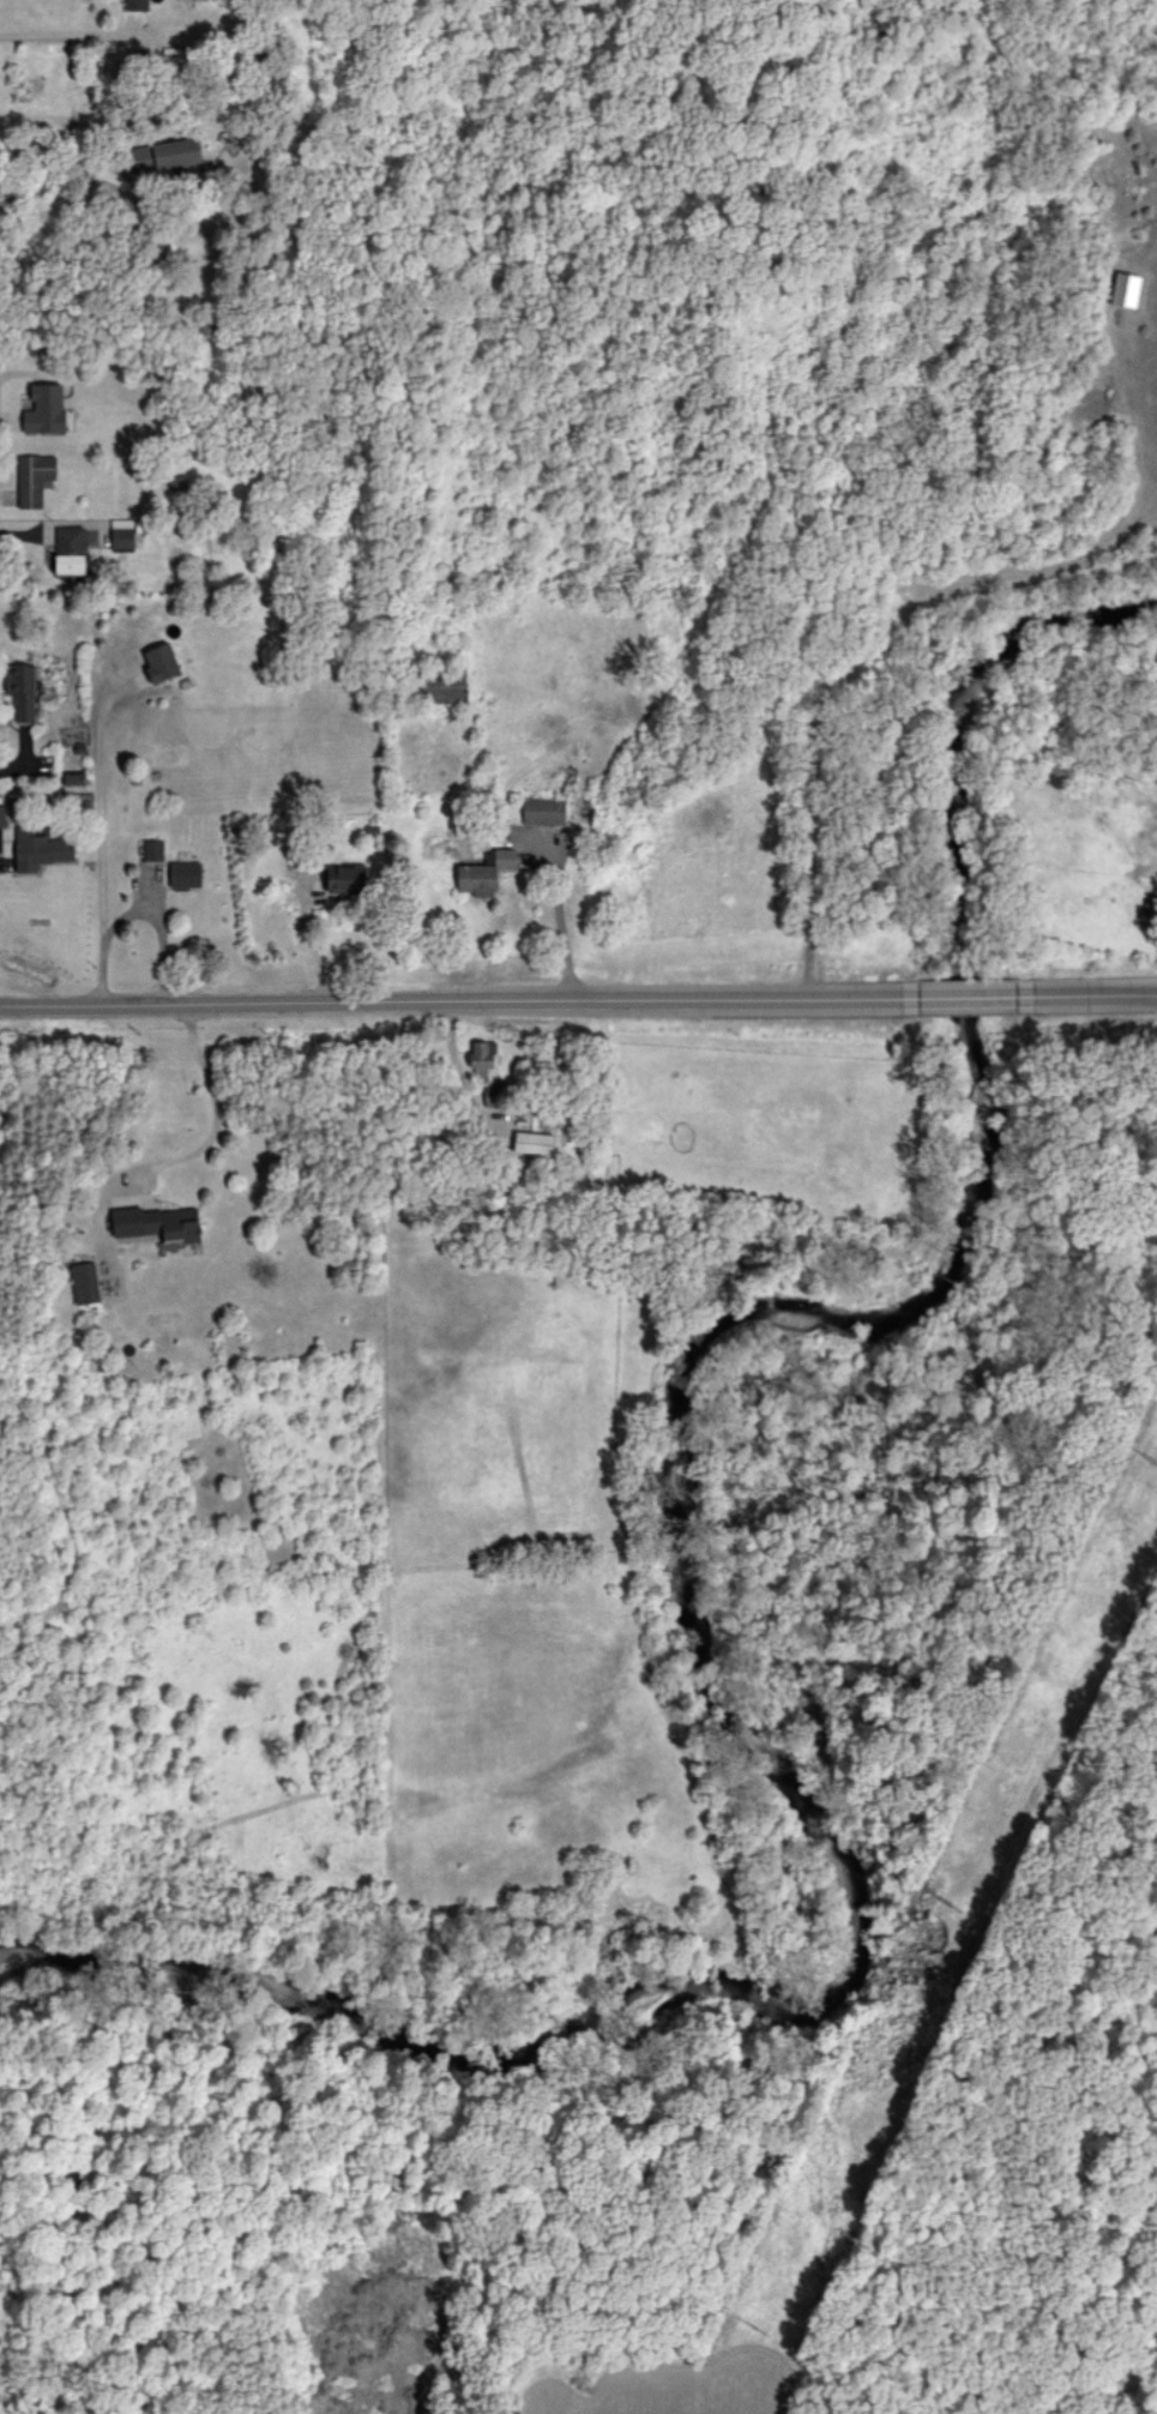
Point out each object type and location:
building: (137, 5)
road: (70, 30)
building: (165, 153)
road: (168, 177)
building: (1126, 289)
building: (46, 408)
building: (34, 477)
building: (122, 532)
building: (71, 549)
building: (162, 662)
building: (445, 686)
building: (22, 688)
building: (74, 777)
building: (544, 809)
building: (2, 815)
road: (95, 837)
building: (41, 848)
building: (153, 849)
building: (487, 872)
building: (186, 873)
building: (344, 878)
road: (561, 920)
road: (155, 923)
road: (1092, 998)
road: (975, 1000)
road: (459, 1001)
building: (483, 1054)
building: (493, 1095)
road: (218, 1113)
building: (534, 1142)
building: (157, 1222)
building: (85, 1282)
river: (680, 1584)

